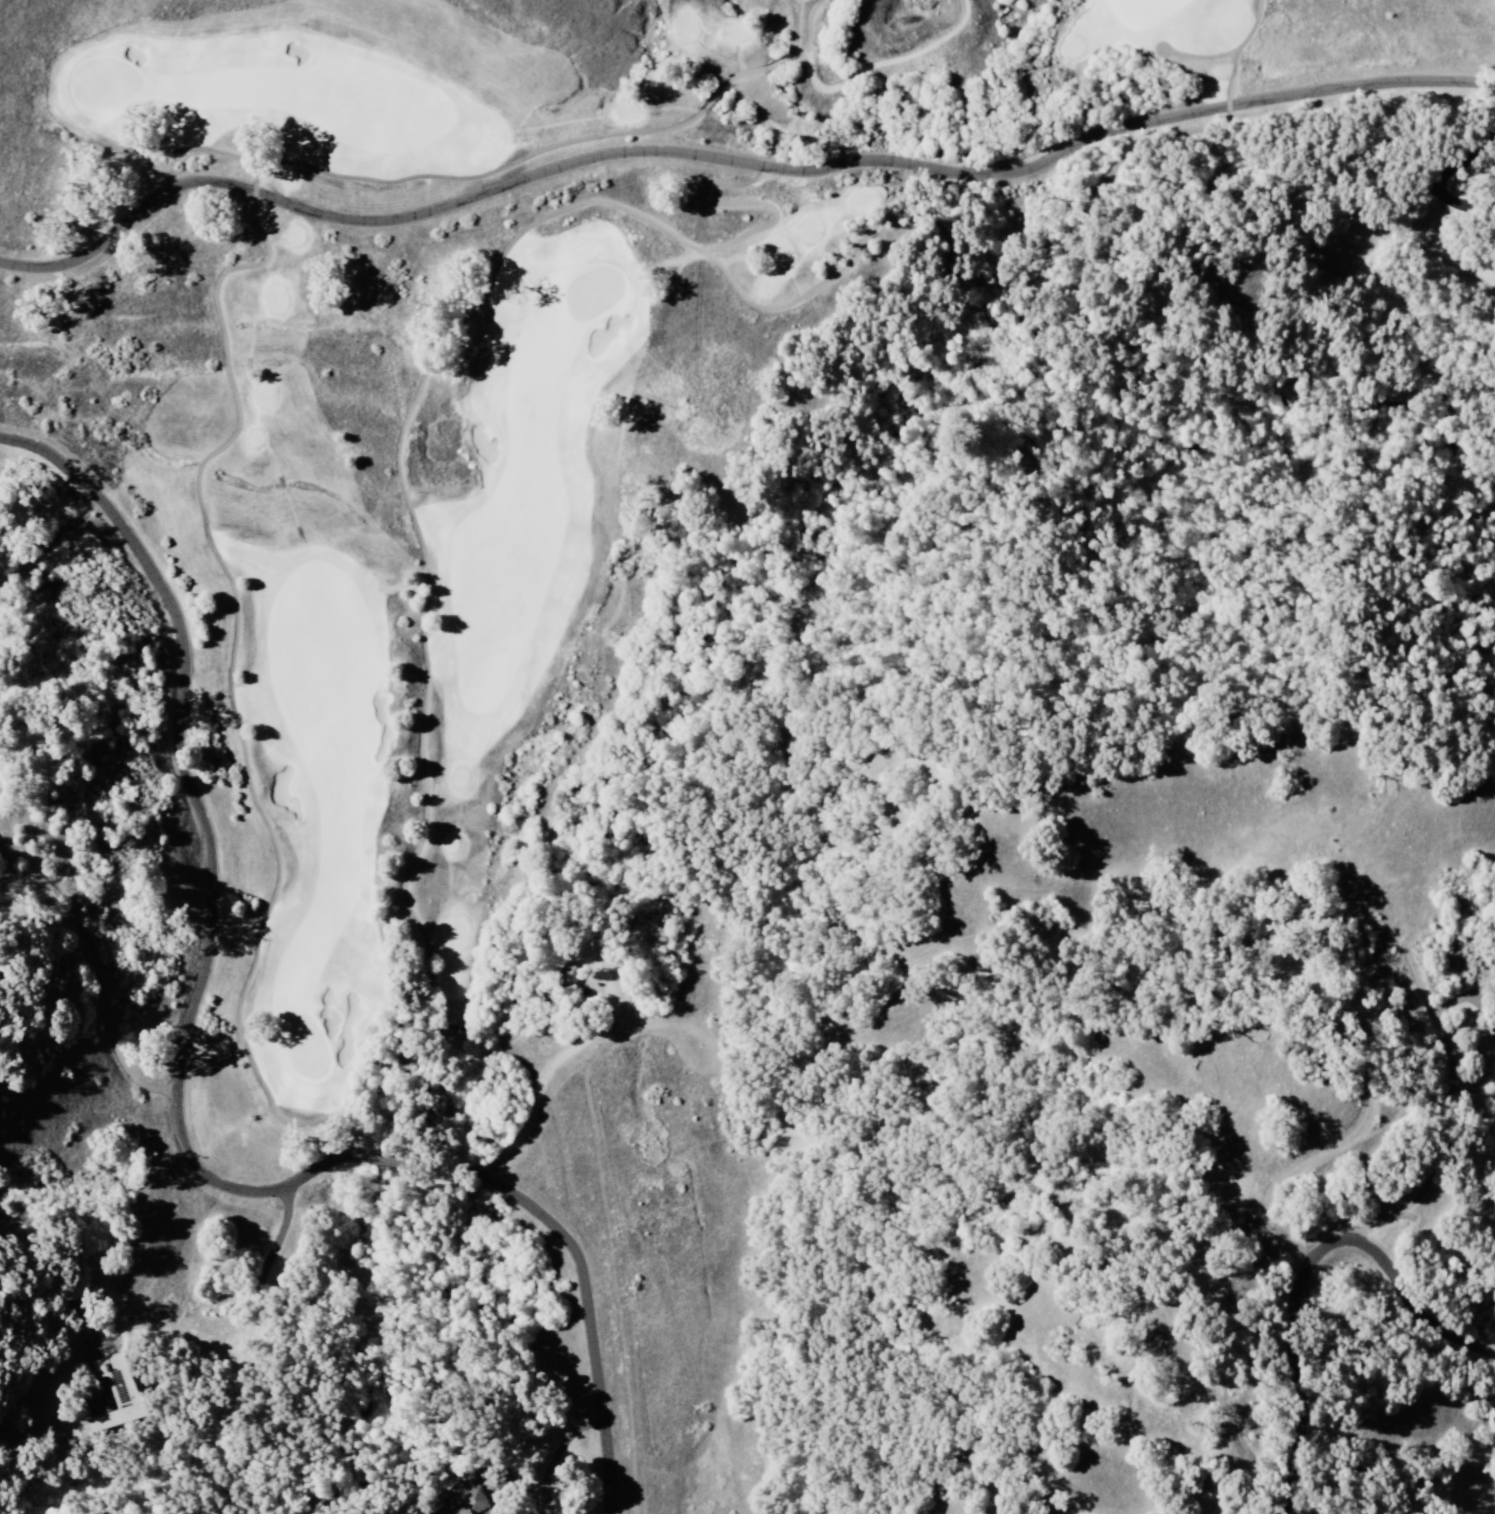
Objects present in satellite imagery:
road: (1227, 53)
road: (882, 62)
road: (1229, 78)
park: (105, 83)
road: (734, 159)
road: (506, 164)
road: (747, 202)
park: (593, 290)
park: (500, 394)
road: (424, 791)
building: (570, 975)
park: (305, 1047)
road: (182, 1097)
road: (1311, 1271)
building: (473, 1501)

